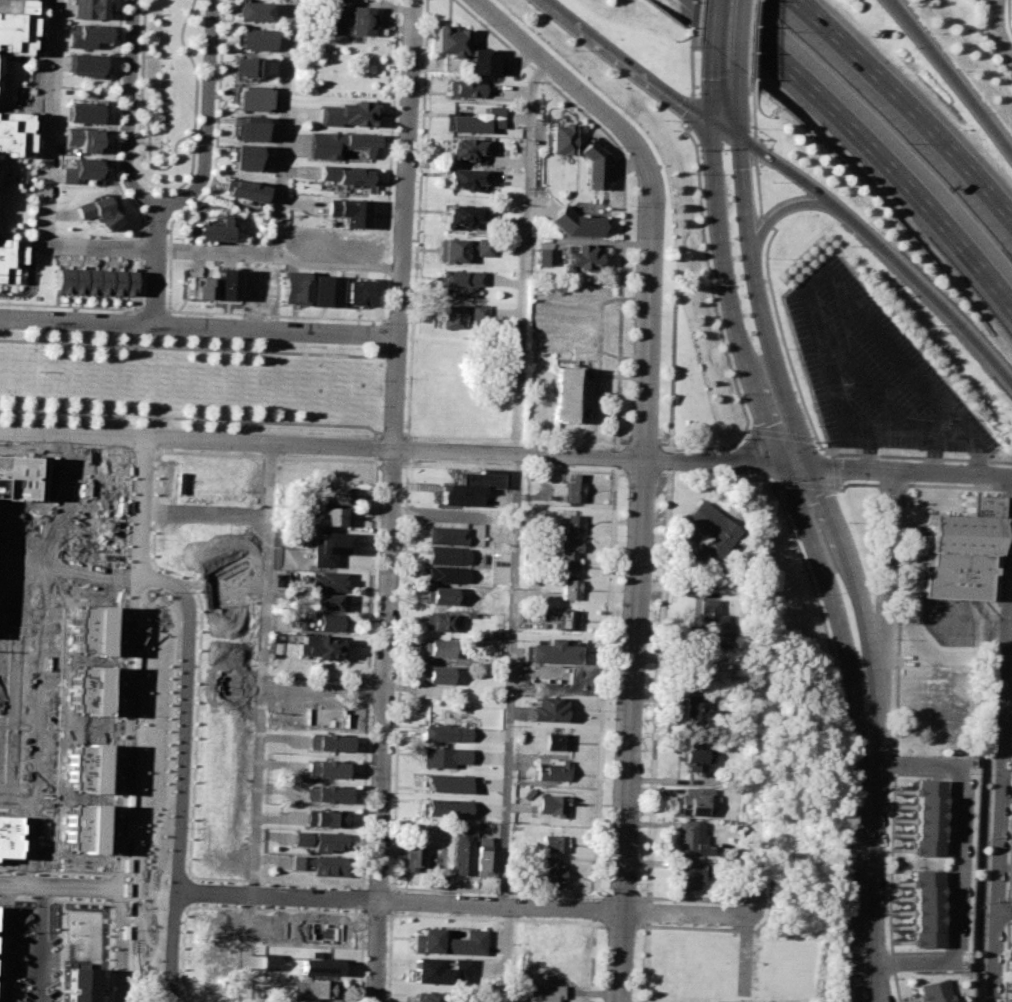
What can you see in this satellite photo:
building: (16, 6)
parking garage: (16, 6)
building: (91, 9)
building: (253, 11)
building: (348, 22)
road: (715, 22)
road: (999, 27)
road: (742, 32)
building: (15, 33)
building: (86, 34)
building: (254, 39)
building: (448, 41)
building: (478, 62)
building: (84, 64)
building: (249, 66)
road: (642, 70)
road: (951, 78)
road: (574, 86)
building: (469, 90)
road: (94, 93)
park: (167, 95)
building: (252, 97)
road: (740, 102)
road: (910, 107)
road: (128, 108)
building: (82, 112)
building: (343, 115)
road: (206, 116)
building: (473, 119)
traffic signals: (713, 122)
building: (247, 127)
road: (216, 133)
building: (13, 134)
building: (556, 138)
building: (83, 139)
traffic signals: (740, 139)
building: (337, 144)
building: (462, 149)
road: (872, 149)
building: (243, 157)
building: (591, 164)
road: (167, 167)
road: (405, 167)
building: (80, 170)
building: (346, 176)
road: (188, 177)
building: (463, 179)
road: (623, 187)
building: (244, 189)
building: (348, 210)
building: (98, 211)
road: (778, 212)
building: (459, 216)
road: (140, 220)
building: (572, 222)
building: (216, 228)
road: (166, 248)
building: (461, 250)
road: (884, 253)
building: (544, 256)
building: (8, 258)
building: (580, 259)
road: (156, 263)
road: (338, 265)
building: (91, 281)
building: (459, 281)
building: (226, 283)
building: (294, 286)
building: (194, 287)
building: (322, 288)
building: (353, 292)
building: (459, 314)
road: (199, 325)
road: (199, 348)
parking lot: (872, 372)
park: (191, 383)
road: (756, 387)
road: (397, 392)
building: (563, 396)
road: (791, 409)
road: (195, 419)
road: (937, 433)
street lamp: (819, 440)
road: (197, 441)
street lamp: (721, 445)
road: (869, 449)
road: (978, 451)
road: (934, 454)
road: (611, 457)
street lamp: (879, 458)
road: (603, 459)
street lamp: (966, 464)
traffic signals: (783, 468)
traffic signals: (812, 468)
road: (912, 472)
building: (14, 475)
building: (166, 477)
road: (516, 480)
building: (467, 489)
building: (571, 489)
street lamp: (771, 492)
road: (136, 495)
building: (339, 495)
road: (202, 516)
building: (336, 517)
street lamp: (848, 521)
building: (569, 524)
building: (710, 532)
building: (445, 536)
building: (186, 539)
building: (331, 549)
building: (959, 550)
building: (565, 553)
building: (442, 555)
road: (884, 572)
building: (442, 575)
building: (331, 583)
road: (140, 585)
building: (567, 589)
building: (230, 591)
street lamp: (812, 594)
road: (634, 595)
building: (439, 596)
building: (333, 603)
building: (566, 619)
building: (438, 621)
building: (329, 623)
building: (304, 624)
building: (707, 625)
building: (92, 630)
street lamp: (894, 638)
building: (319, 648)
building: (437, 648)
building: (550, 652)
road: (262, 670)
building: (695, 672)
building: (435, 674)
building: (548, 675)
road: (602, 683)
building: (229, 684)
building: (90, 689)
road: (324, 691)
road: (870, 694)
building: (545, 709)
building: (695, 712)
street lamp: (838, 712)
building: (326, 716)
road: (384, 725)
building: (442, 733)
road: (870, 737)
building: (557, 741)
building: (324, 743)
street lamp: (930, 756)
building: (439, 757)
building: (697, 759)
road: (177, 766)
building: (87, 767)
building: (324, 768)
building: (551, 770)
road: (120, 776)
building: (441, 782)
street lamp: (887, 787)
building: (527, 793)
street lamp: (1011, 793)
park: (149, 794)
building: (324, 794)
building: (693, 801)
building: (551, 804)
building: (440, 808)
road: (1004, 809)
building: (323, 818)
building: (927, 820)
building: (85, 827)
building: (10, 836)
building: (687, 837)
building: (317, 841)
building: (551, 843)
building: (411, 854)
building: (459, 856)
road: (957, 861)
building: (318, 864)
building: (481, 866)
building: (551, 873)
building: (688, 875)
road: (868, 881)
road: (57, 887)
street lamp: (883, 888)
street lamp: (1006, 898)
road: (460, 904)
road: (593, 908)
building: (925, 909)
road: (1006, 913)
building: (275, 928)
building: (213, 930)
building: (319, 930)
building: (450, 942)
road: (3, 943)
building: (547, 943)
road: (39, 944)
road: (241, 949)
road: (743, 952)
street lamp: (960, 952)
road: (591, 959)
building: (211, 960)
building: (269, 962)
building: (316, 967)
building: (547, 968)
building: (435, 971)
street lamp: (842, 971)
building: (83, 984)
building: (932, 991)
building: (314, 993)
building: (543, 993)
building: (421, 997)
road: (867, 999)
parking lot: (726, 1001)

